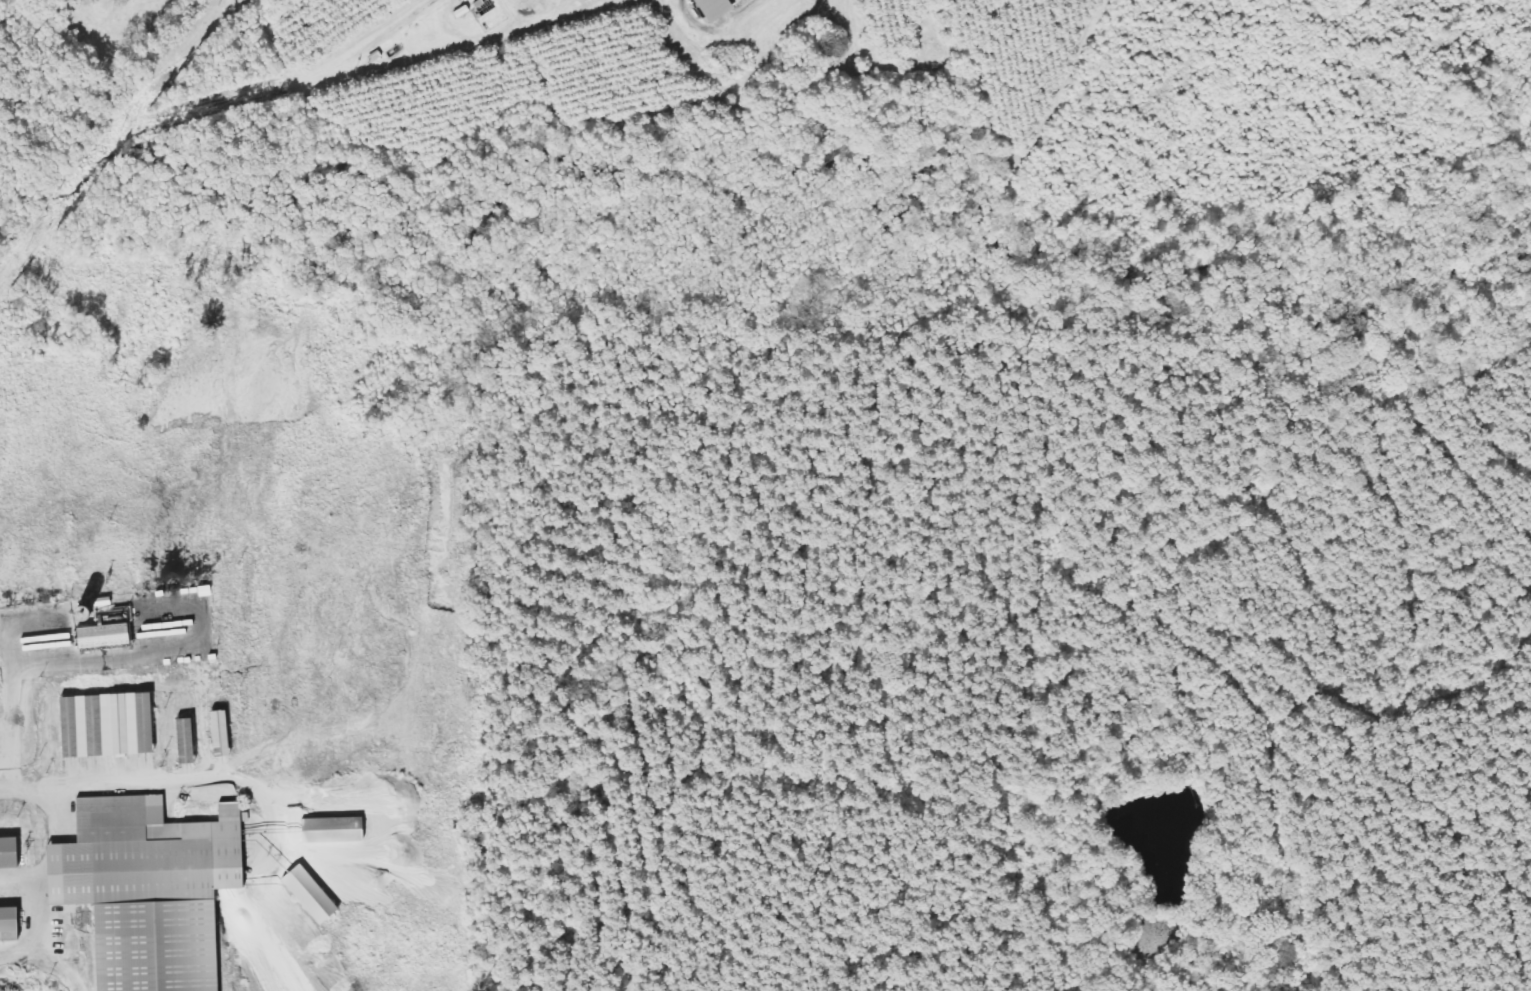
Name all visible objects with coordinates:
building: (712, 9)
building: (112, 636)
building: (114, 725)
building: (228, 734)
building: (193, 741)
building: (340, 830)
road: (46, 849)
building: (12, 853)
building: (317, 895)
building: (13, 925)

